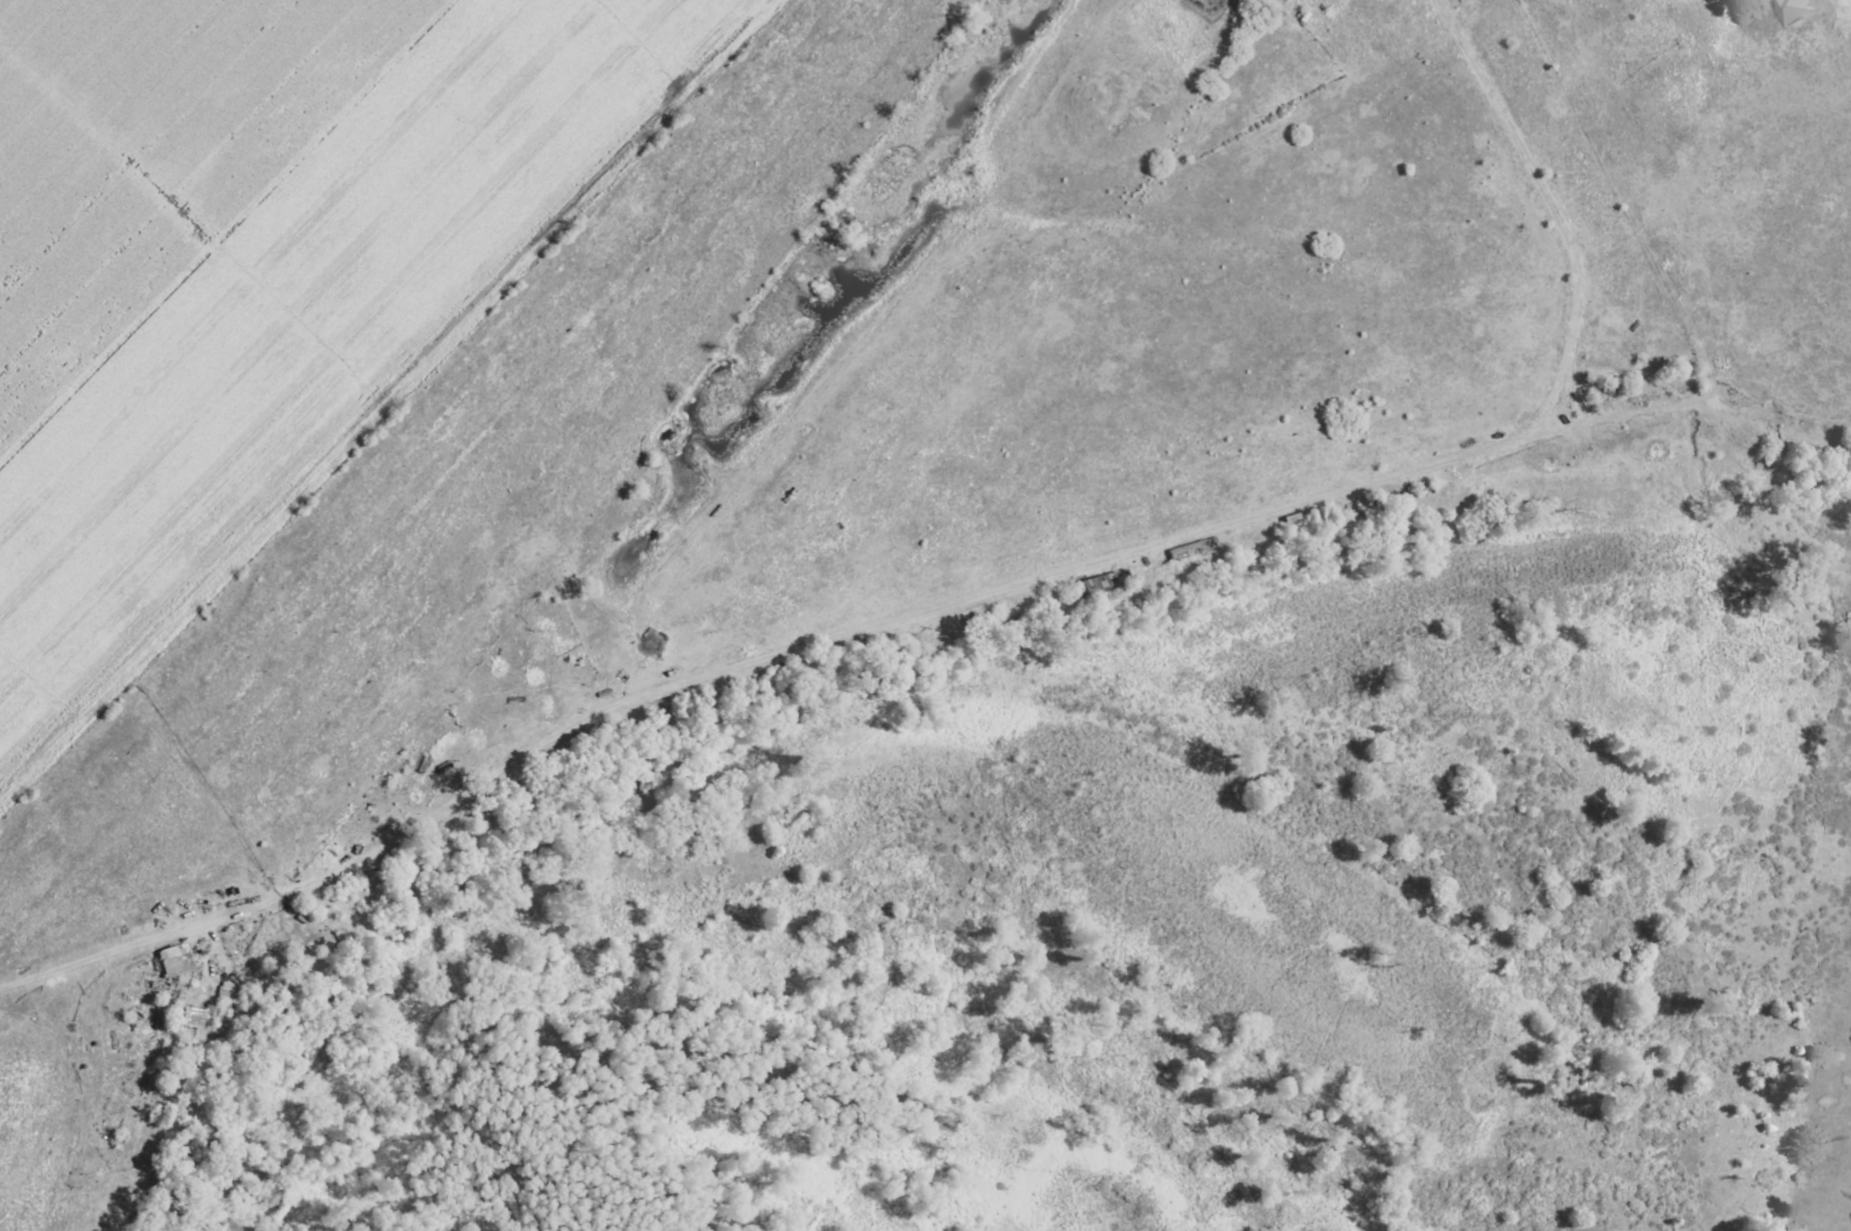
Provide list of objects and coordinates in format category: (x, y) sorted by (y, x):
road: (165, 936)

